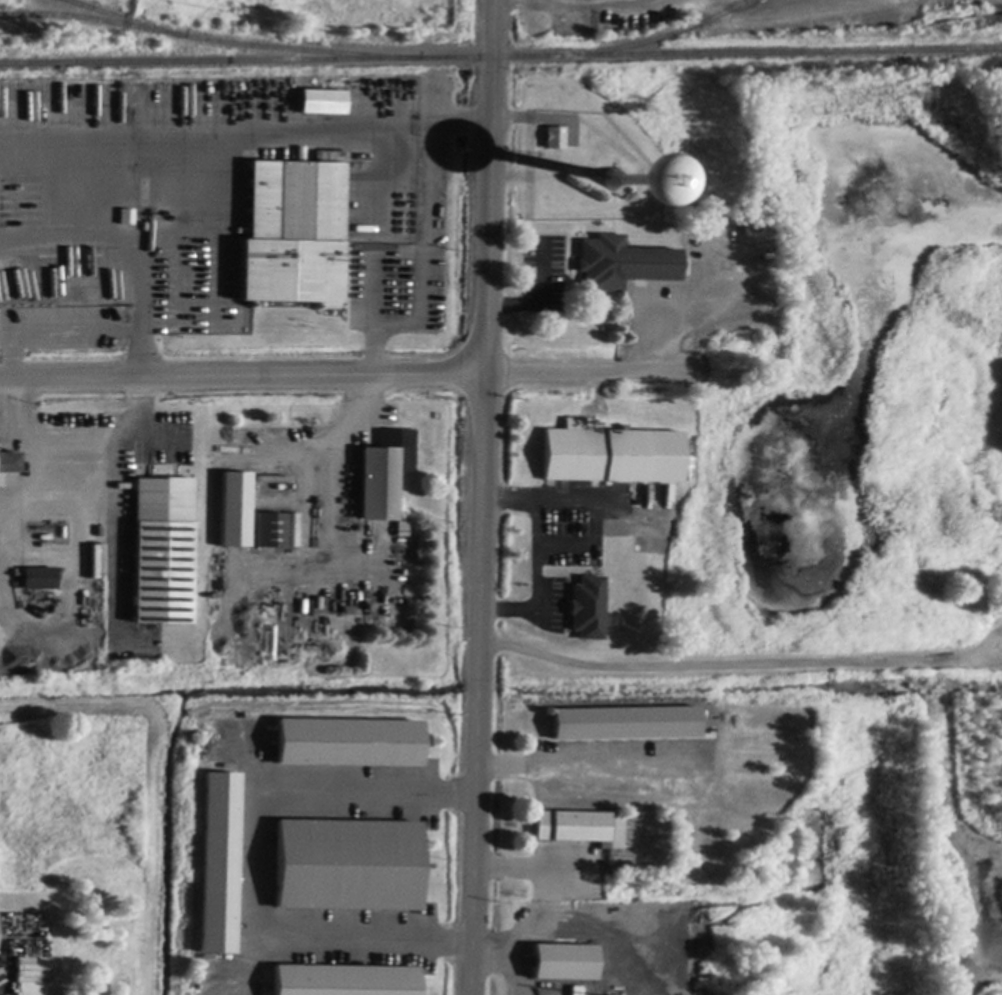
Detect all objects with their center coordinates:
railway: (81, 3)
railway: (6, 14)
railway: (126, 18)
railway: (654, 39)
railway: (210, 40)
railway: (501, 57)
building: (322, 104)
road: (426, 128)
road: (206, 137)
building: (555, 139)
water tower: (602, 171)
building: (621, 181)
building: (126, 218)
building: (293, 235)
road: (427, 238)
building: (623, 264)
road: (55, 331)
road: (142, 344)
road: (586, 372)
road: (242, 378)
road: (46, 432)
building: (611, 456)
building: (10, 463)
building: (382, 476)
road: (480, 497)
road: (112, 507)
building: (235, 511)
building: (270, 532)
road: (534, 550)
building: (163, 552)
building: (40, 580)
building: (587, 609)
building: (288, 626)
road: (735, 664)
building: (626, 724)
building: (348, 743)
road: (579, 764)
road: (365, 787)
building: (579, 829)
building: (218, 864)
building: (346, 866)
road: (533, 870)
road: (282, 942)
road: (511, 959)
building: (563, 964)
building: (343, 981)

